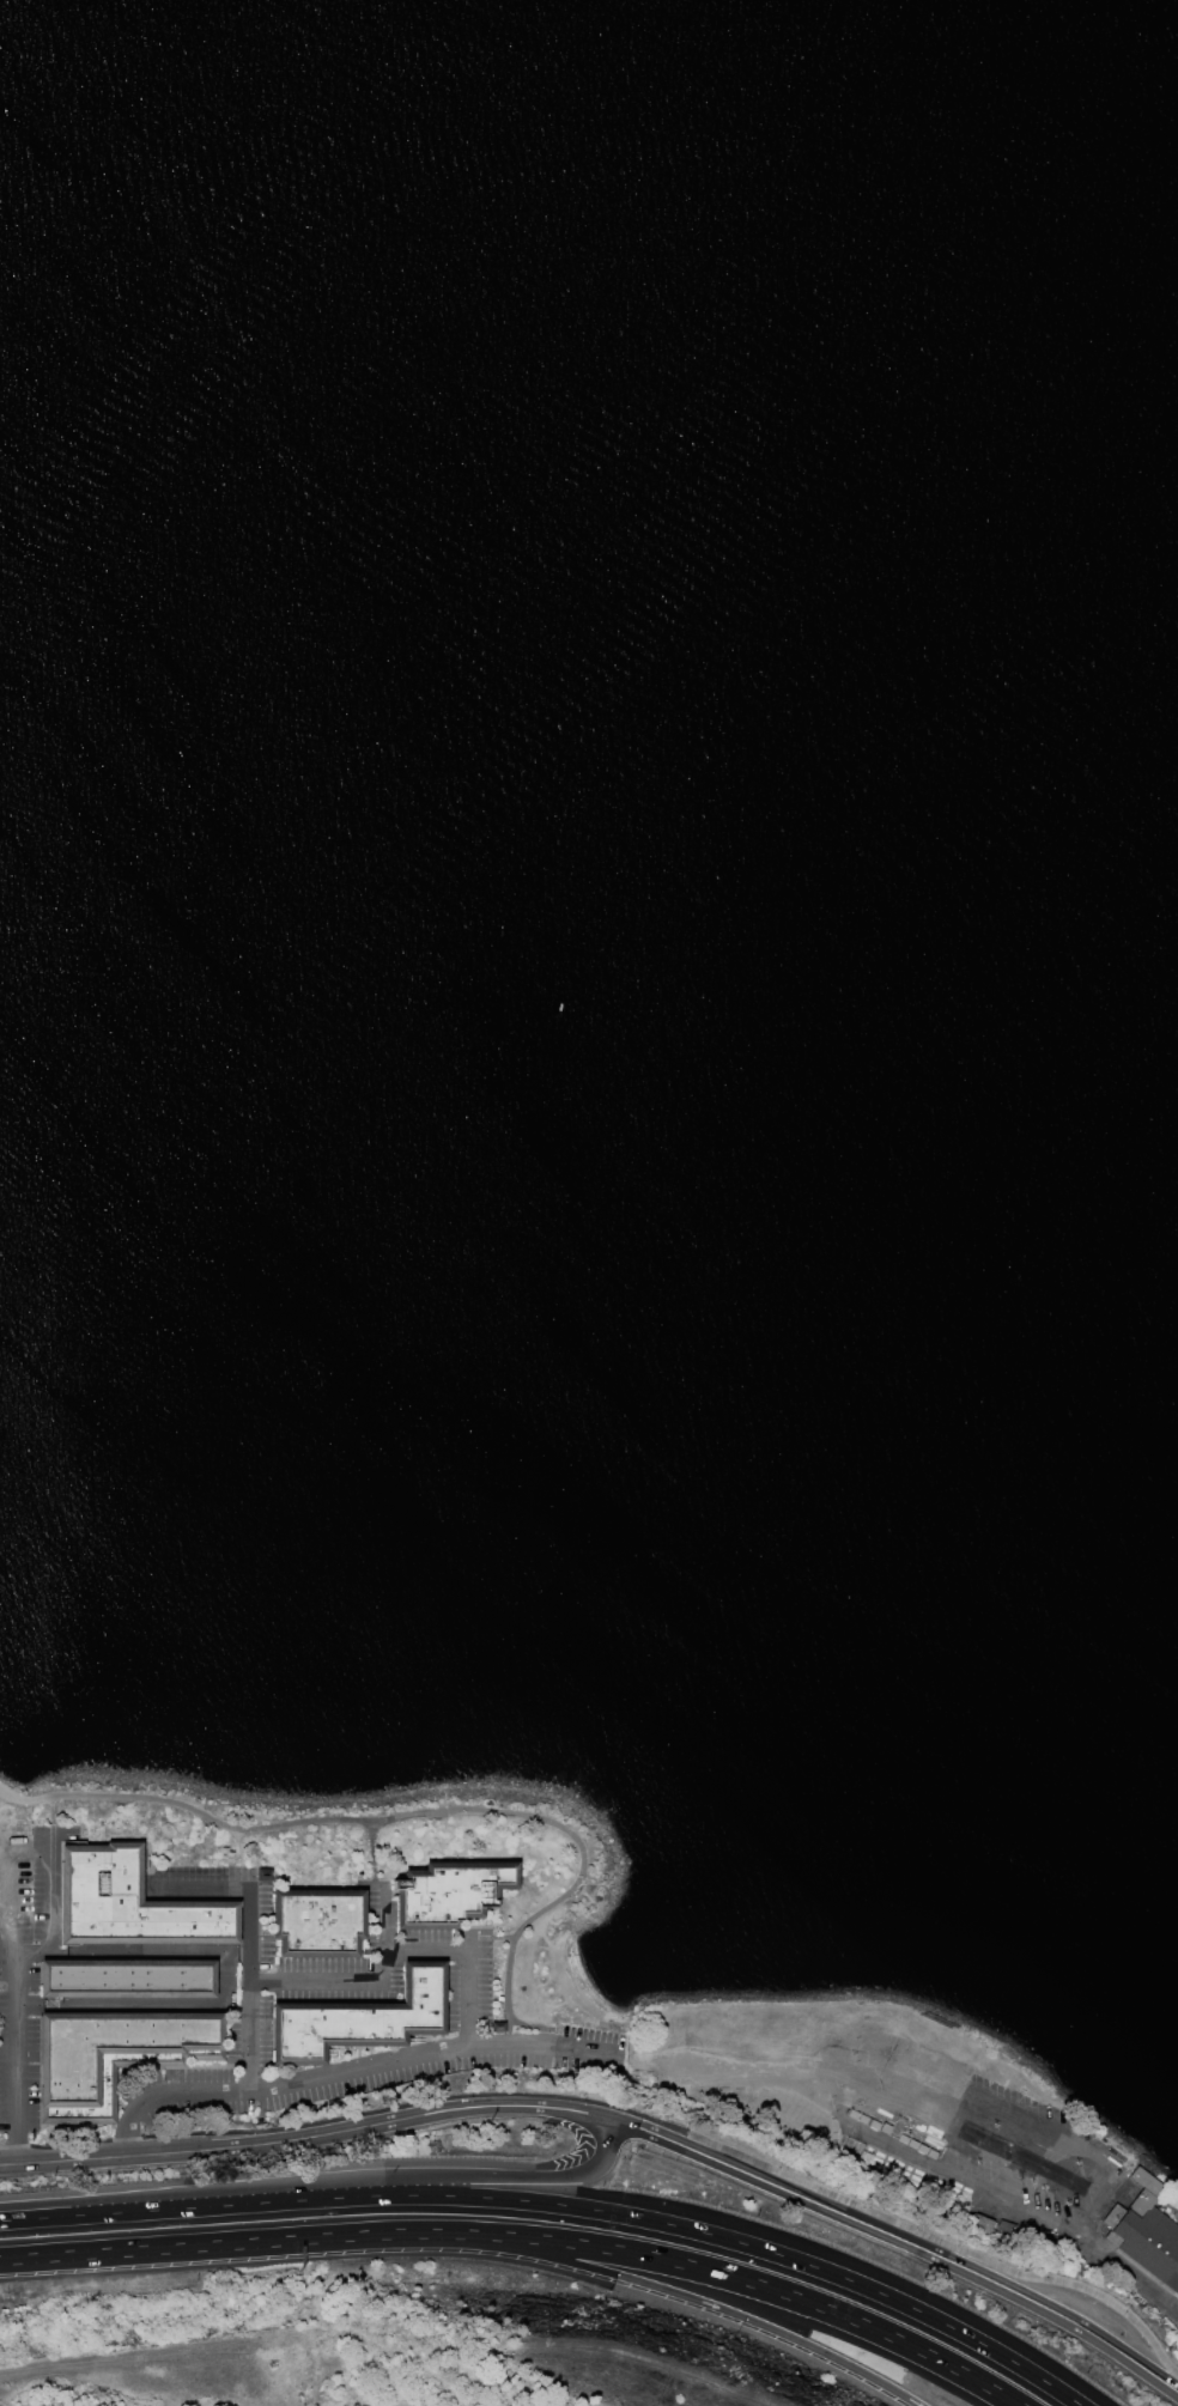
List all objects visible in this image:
road: (51, 1810)
road: (384, 1813)
building: (263, 1873)
road: (241, 1885)
building: (449, 1891)
road: (4, 1892)
building: (129, 1902)
road: (383, 1916)
building: (317, 1922)
road: (7, 1926)
road: (138, 1948)
road: (365, 1975)
road: (13, 1979)
building: (126, 1979)
building: (359, 2018)
building: (497, 2027)
building: (111, 2055)
road: (346, 2064)
road: (619, 2114)
road: (1042, 2118)
road: (1030, 2158)
road: (456, 2175)
building: (1144, 2181)
road: (132, 2210)
road: (1094, 2213)
road: (1, 2219)
road: (1, 2220)
road: (1062, 2223)
road: (690, 2229)
building: (1148, 2241)
road: (231, 2243)
road: (942, 2243)
road: (752, 2282)
road: (699, 2301)

